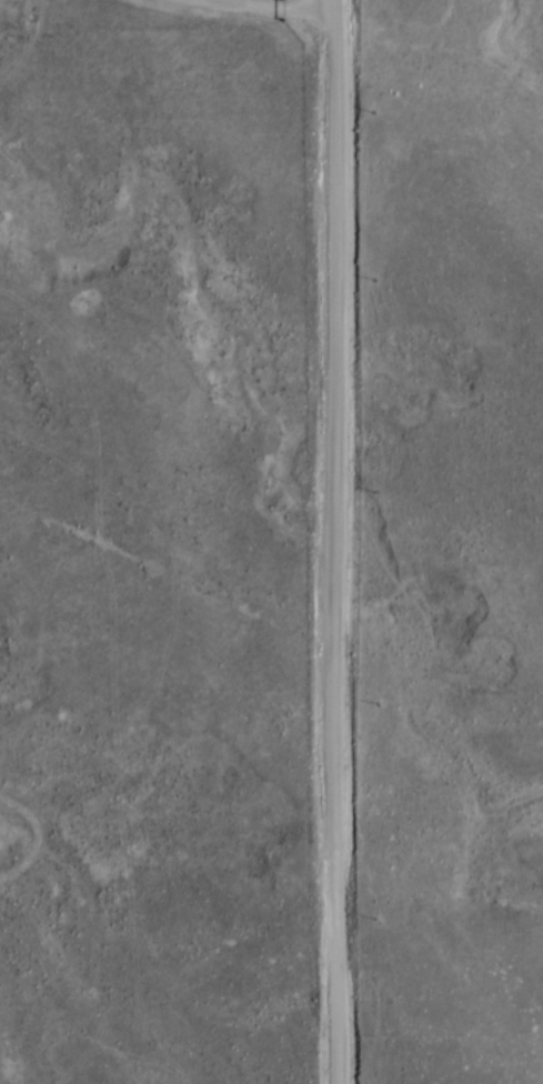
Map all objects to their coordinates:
road: (237, 13)
road: (321, 542)

